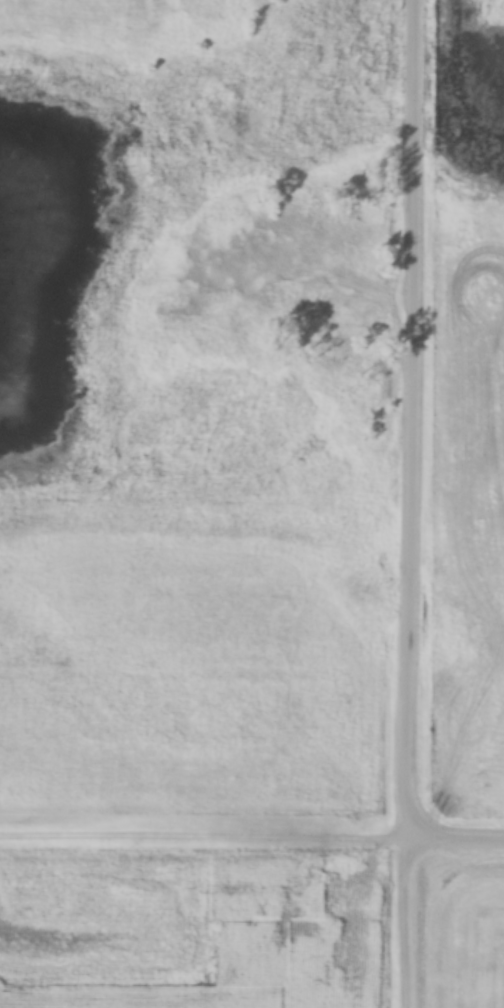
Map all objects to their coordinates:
road: (413, 503)
road: (252, 843)

